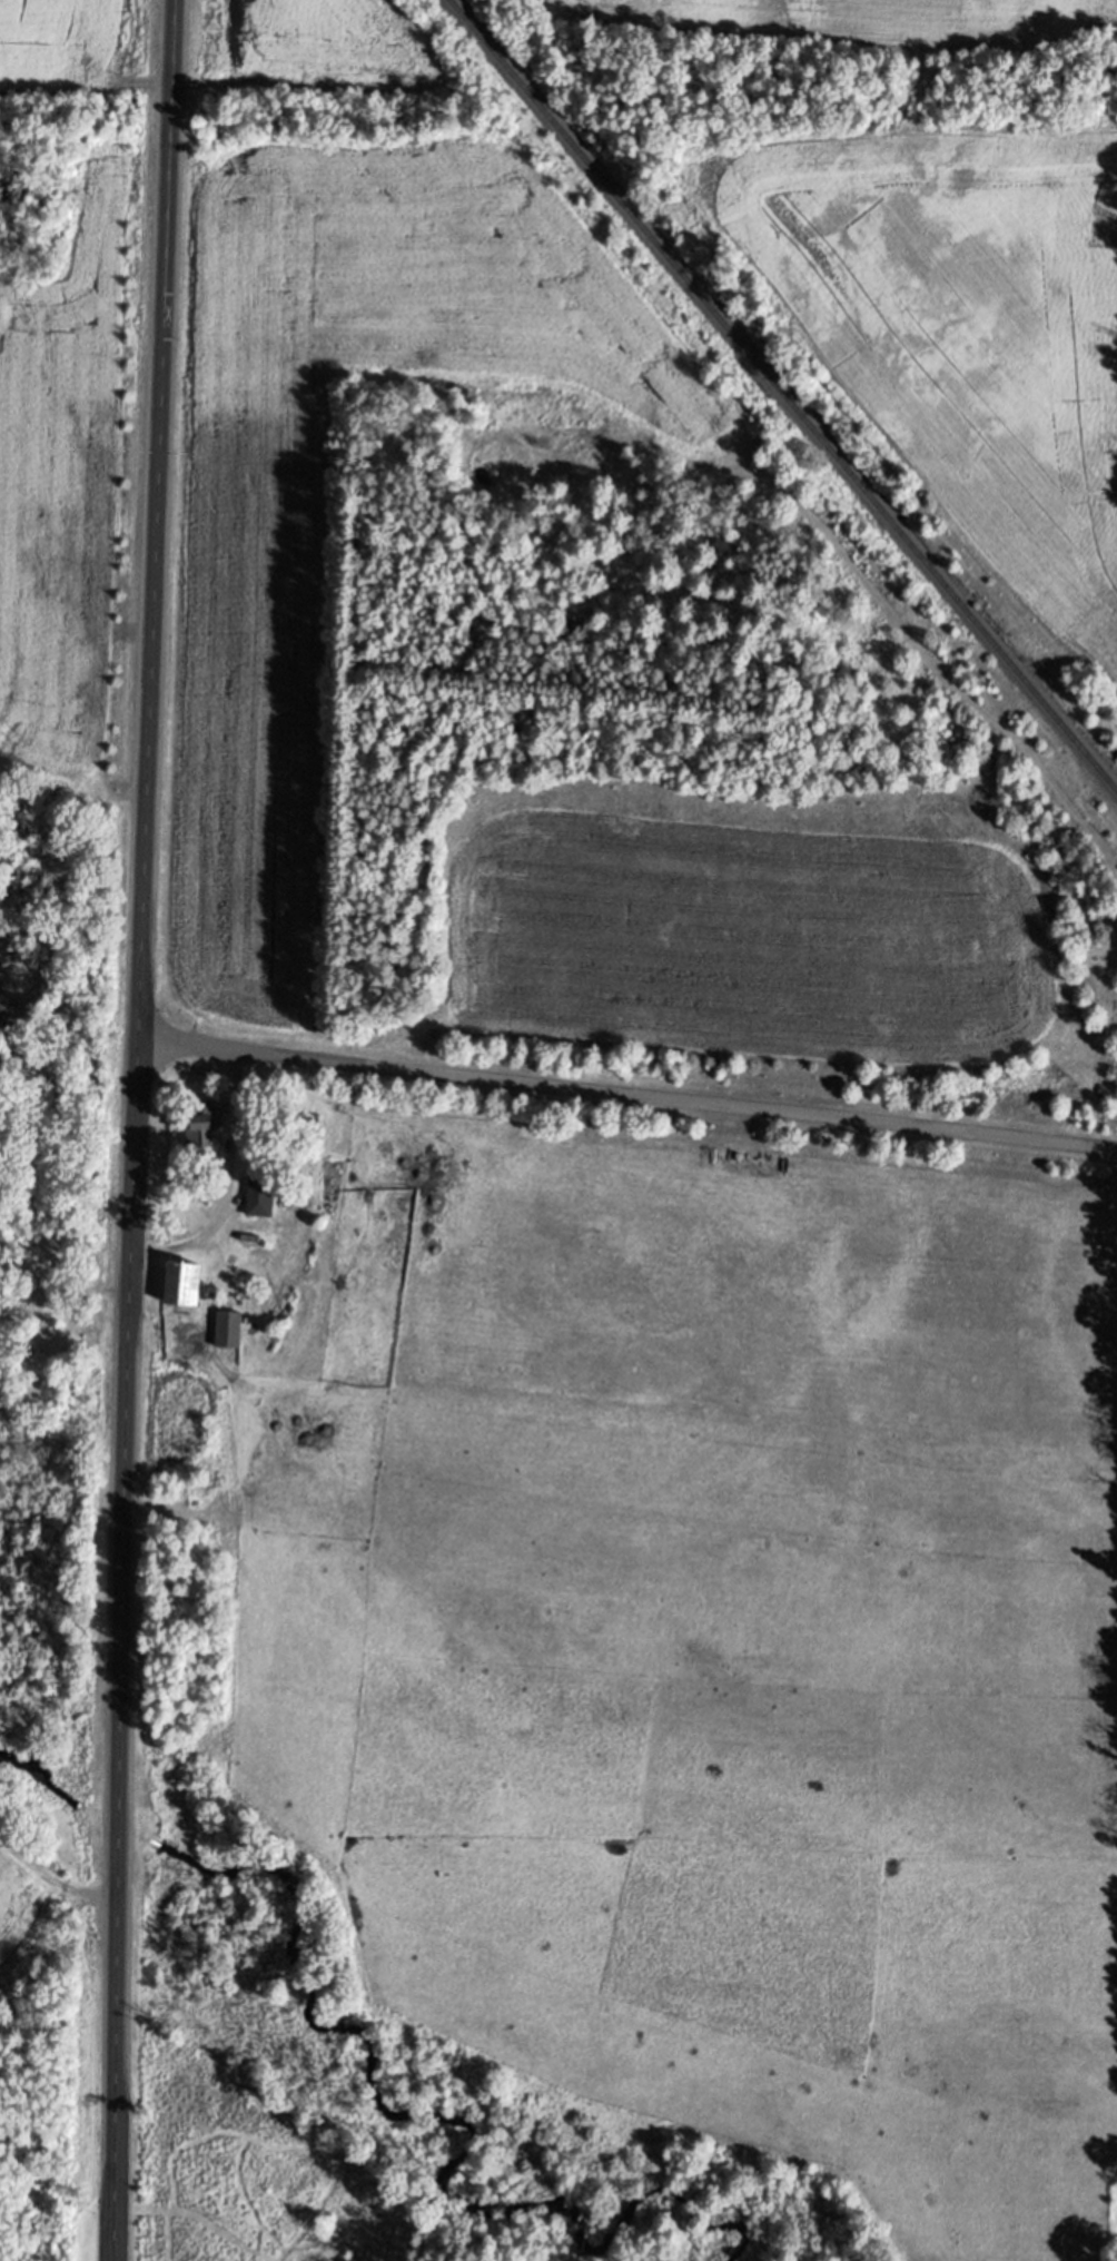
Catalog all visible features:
railway: (781, 398)
road: (73, 663)
road: (141, 901)
road: (627, 1100)
building: (198, 1135)
building: (258, 1205)
building: (176, 1295)
building: (40, 1324)
building: (225, 1341)
road: (119, 1814)
road: (116, 2042)

